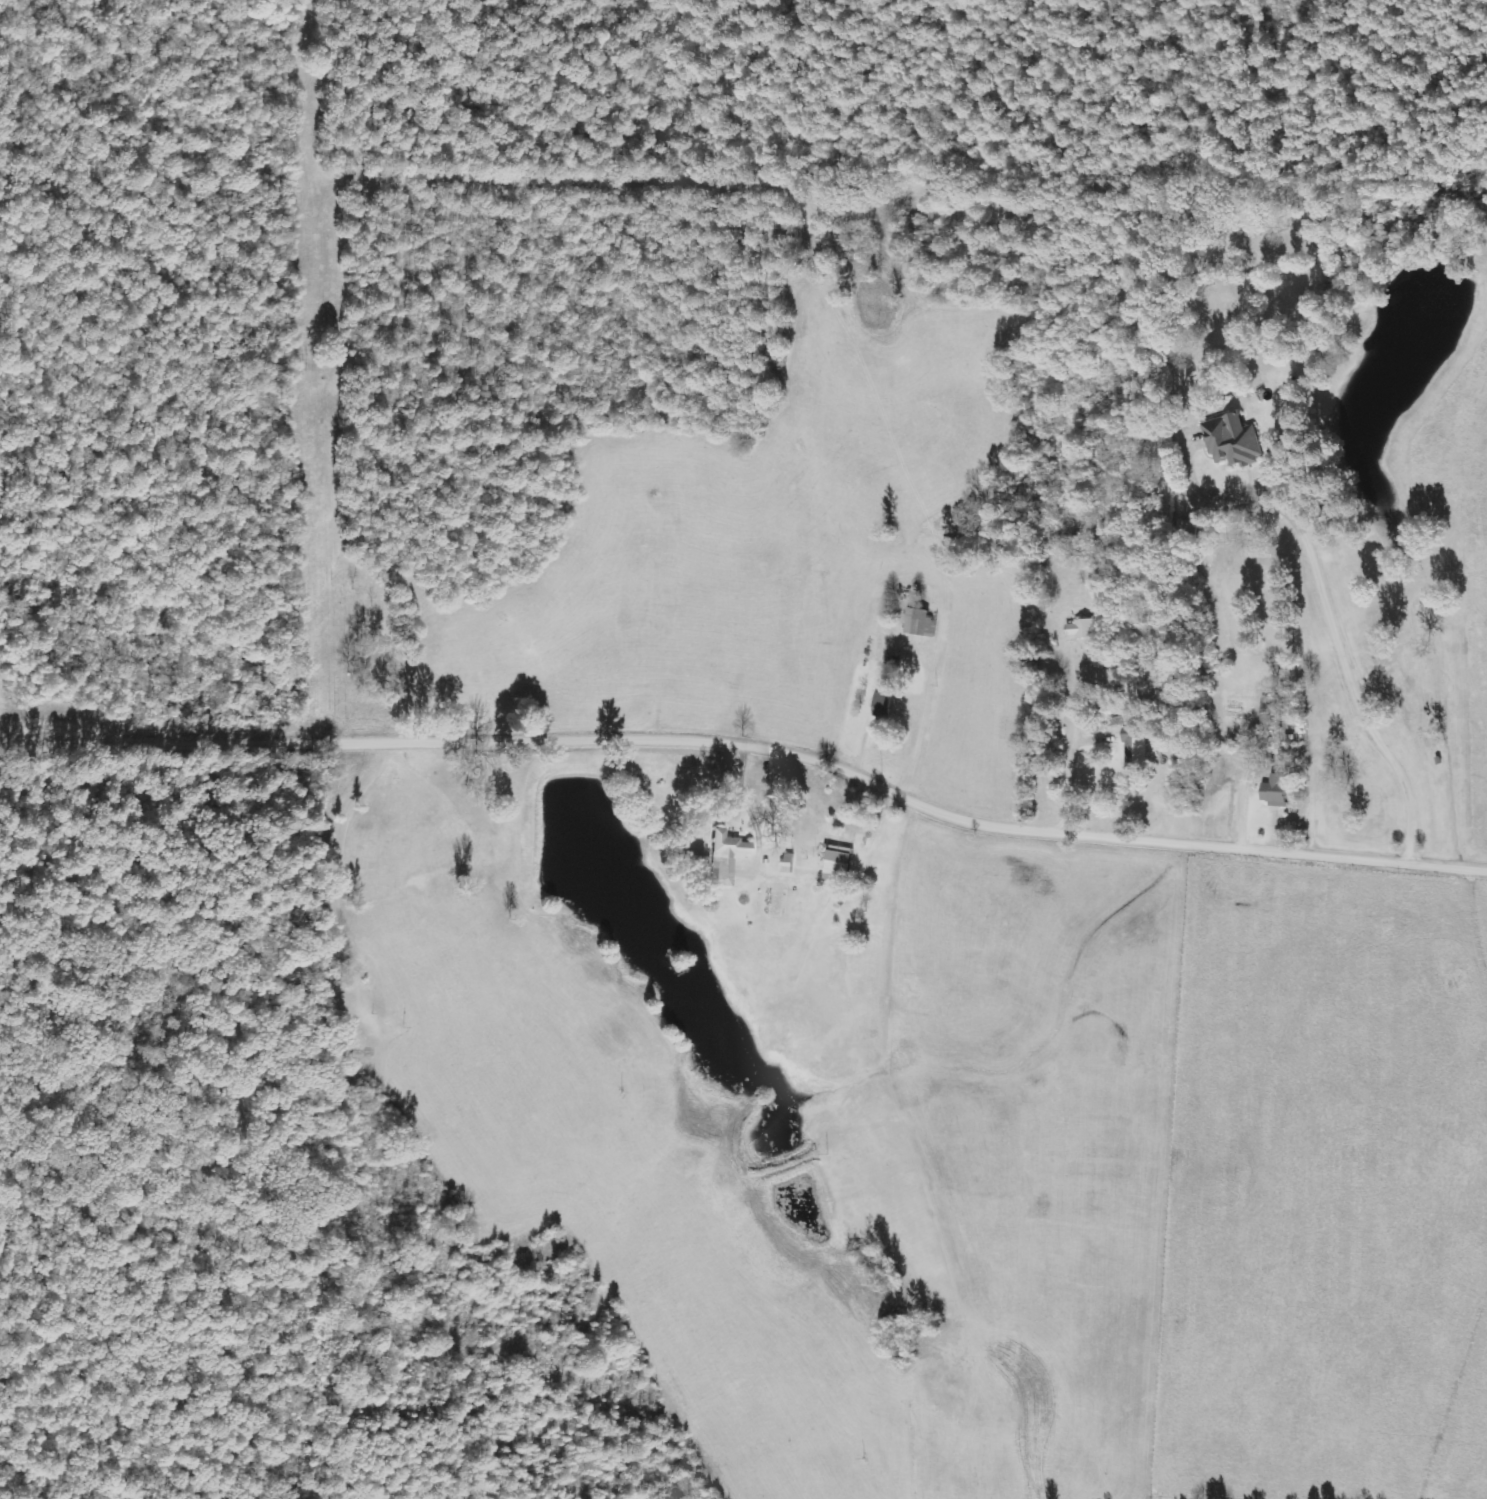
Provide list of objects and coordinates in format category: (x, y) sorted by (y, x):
building: (1233, 441)
building: (921, 622)
building: (1081, 629)
building: (883, 703)
building: (1132, 741)
road: (750, 745)
building: (1275, 790)
building: (726, 857)
building: (838, 865)

